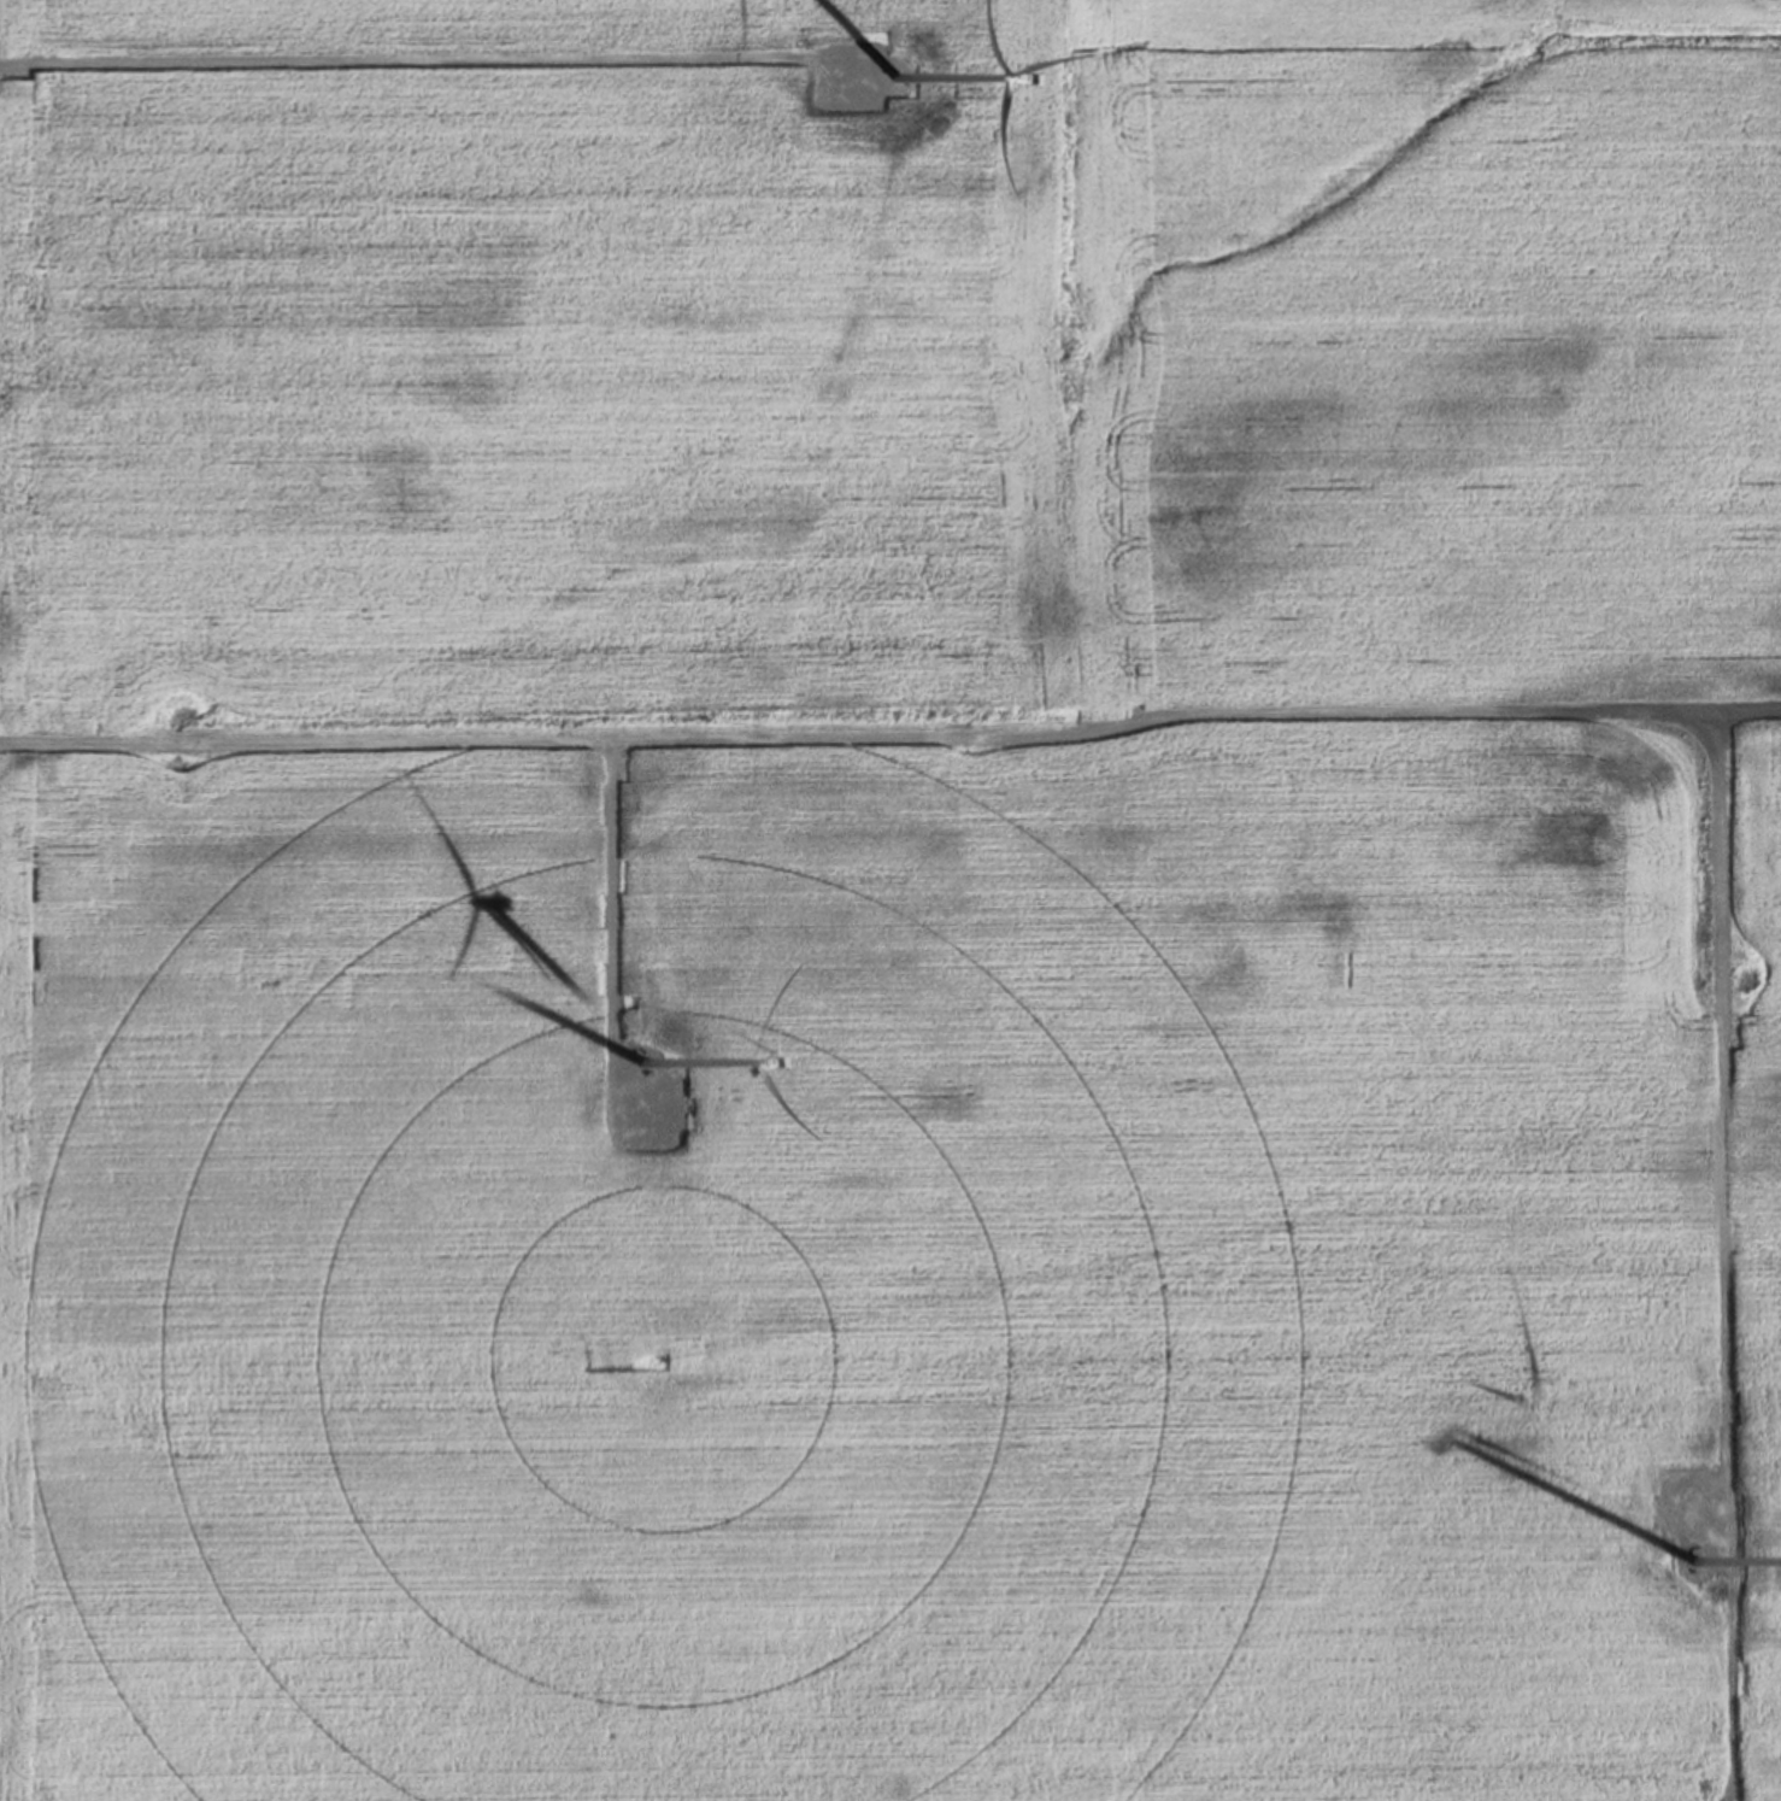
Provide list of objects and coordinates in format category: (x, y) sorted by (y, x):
road: (431, 68)
wind turbine: (889, 81)
road: (890, 744)
wind turbine: (648, 1068)
road: (1718, 1130)
wind turbine: (1685, 1562)

